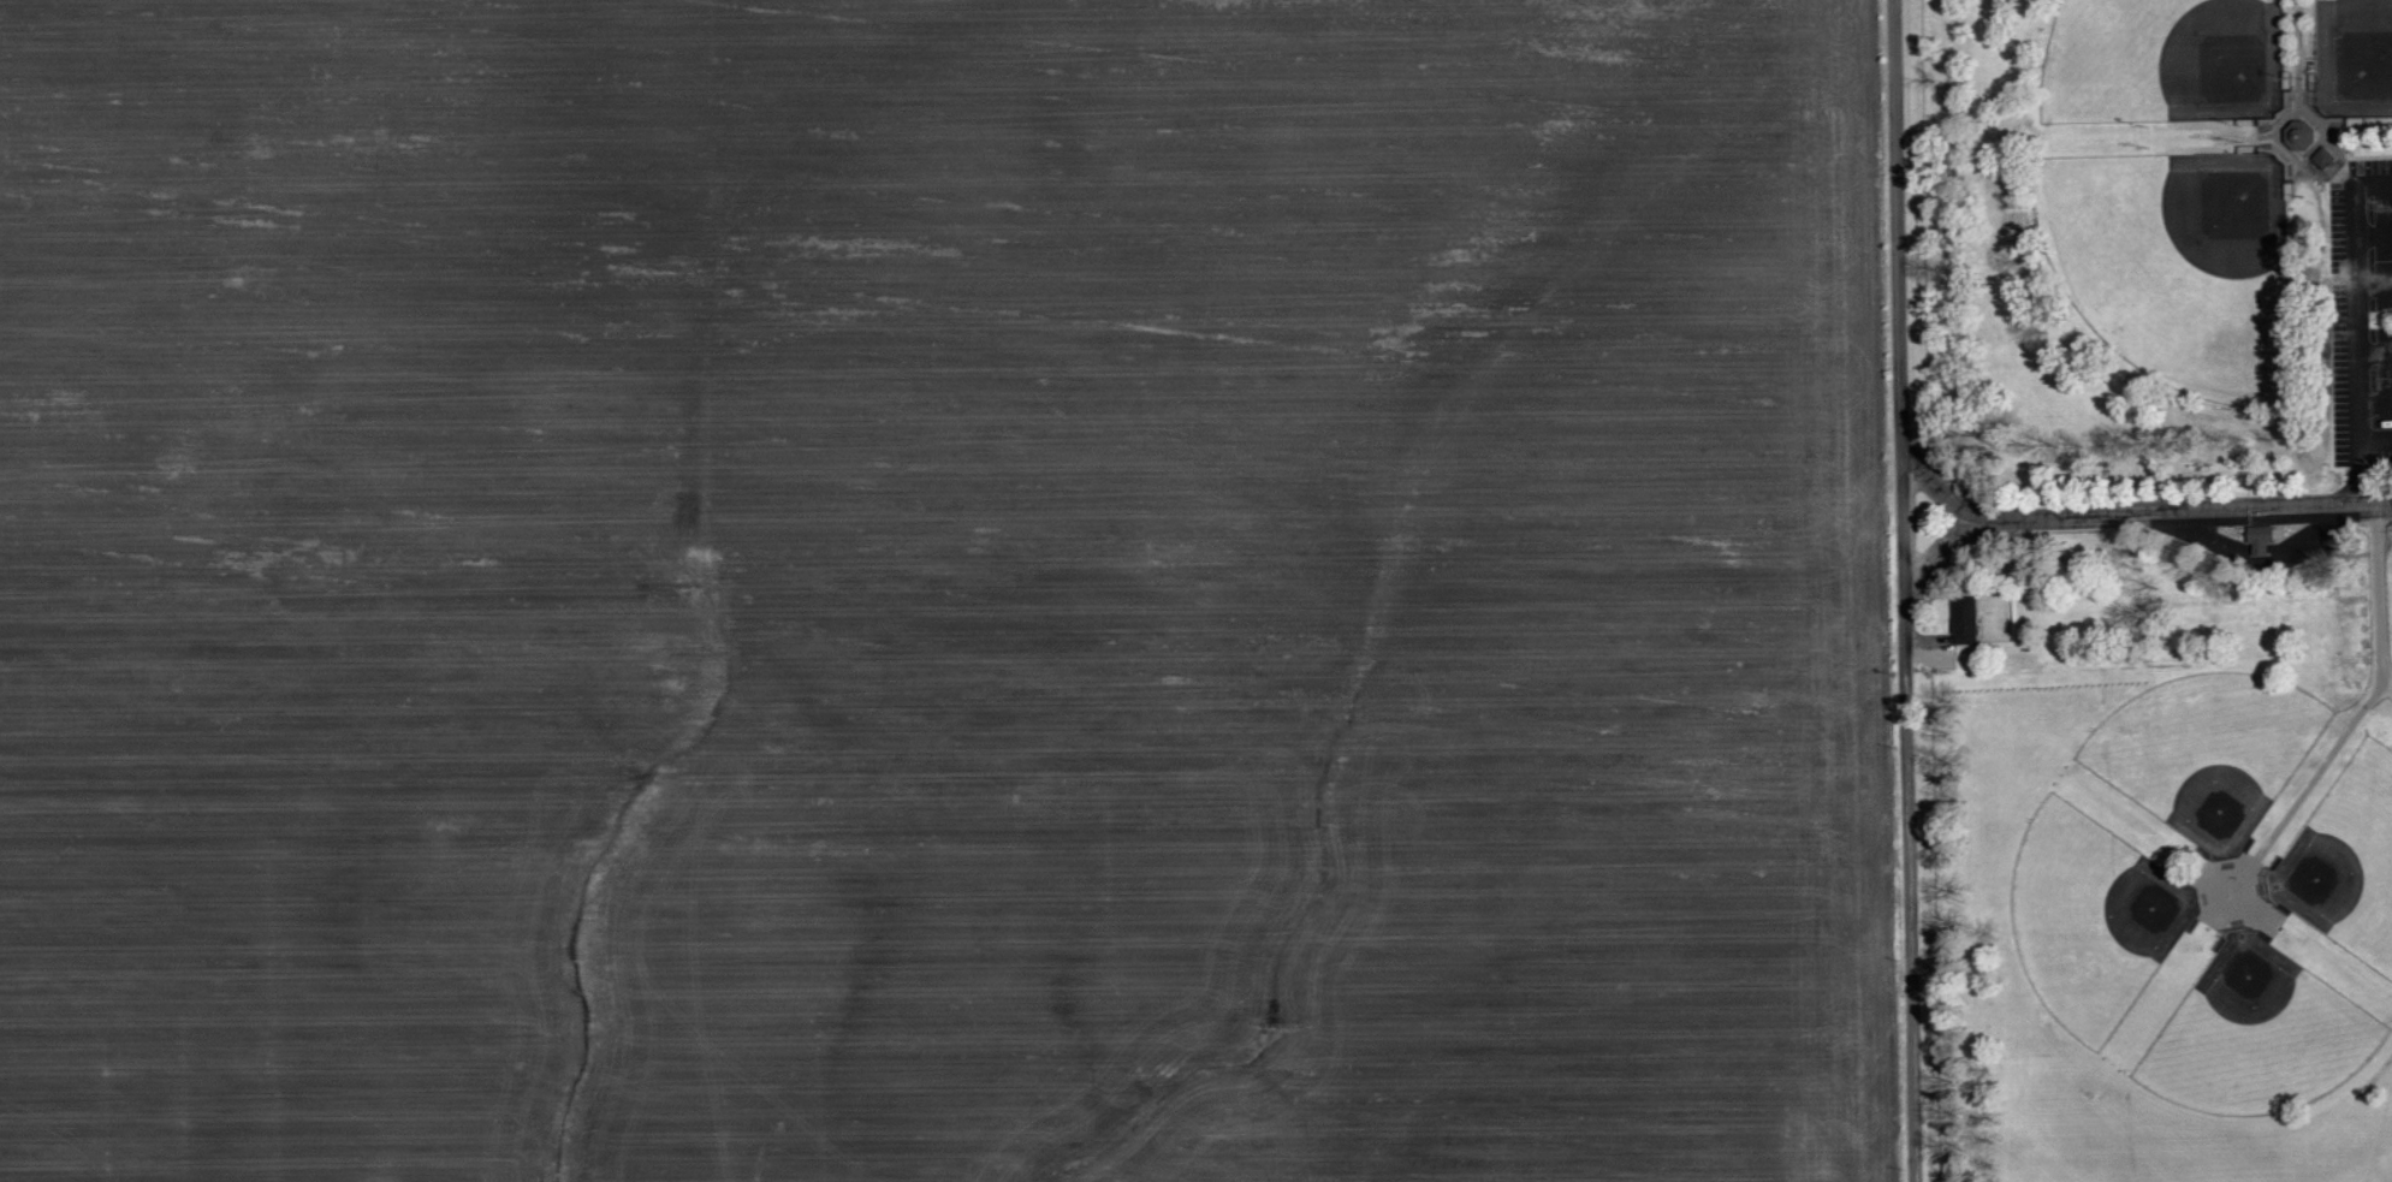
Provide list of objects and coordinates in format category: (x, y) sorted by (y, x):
park: (2355, 58)
park: (2168, 61)
building: (2303, 136)
building: (2326, 159)
road: (2374, 232)
park: (2180, 256)
road: (2374, 284)
road: (2357, 328)
road: (2375, 350)
road: (2375, 402)
road: (2375, 441)
road: (1940, 487)
road: (2132, 510)
building: (2263, 539)
park: (2174, 588)
road: (1905, 590)
road: (2378, 595)
building: (1967, 619)
park: (2210, 748)
road: (2308, 782)
park: (2346, 859)
park: (2093, 915)
park: (2259, 1032)

